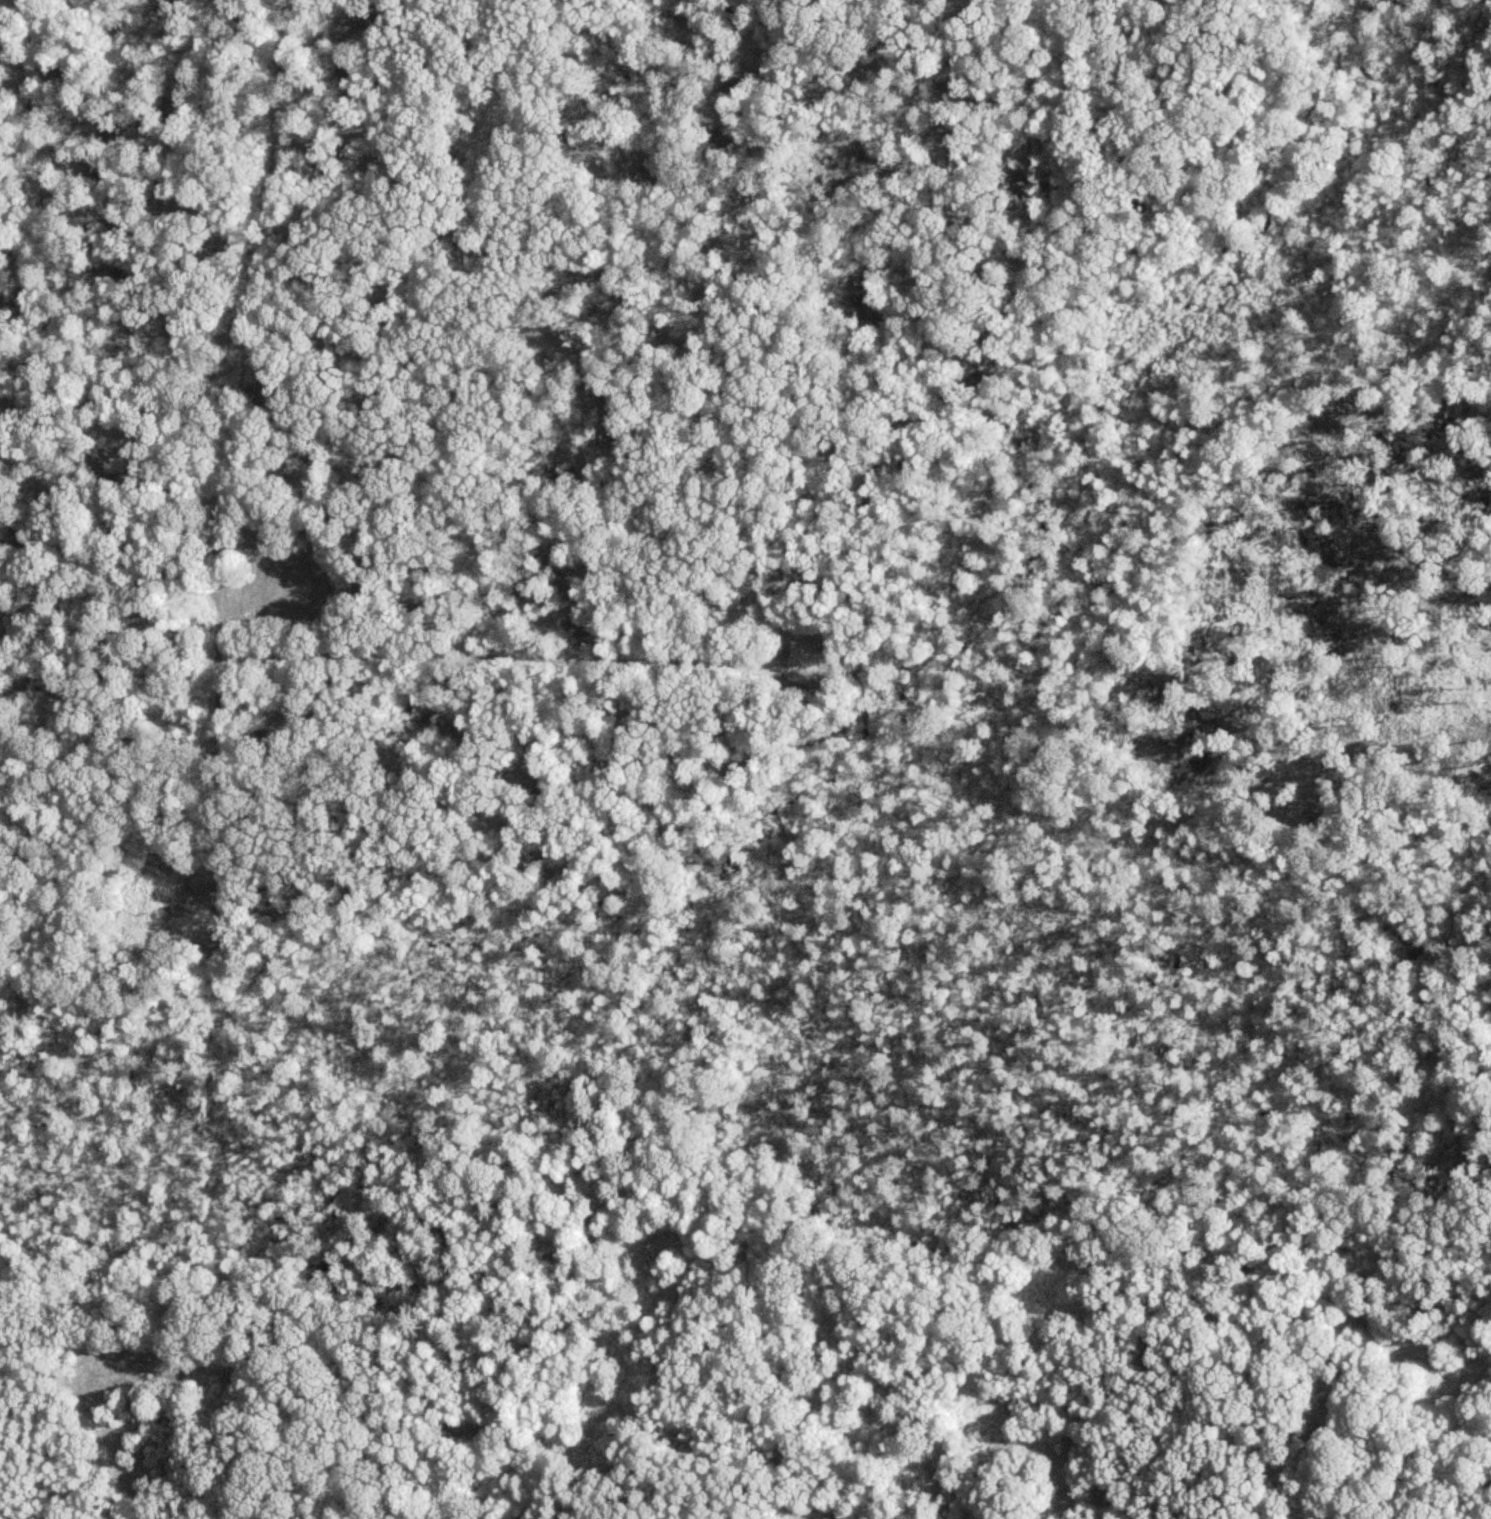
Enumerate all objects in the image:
road: (474, 349)
road: (390, 373)
road: (555, 385)
road: (321, 606)

